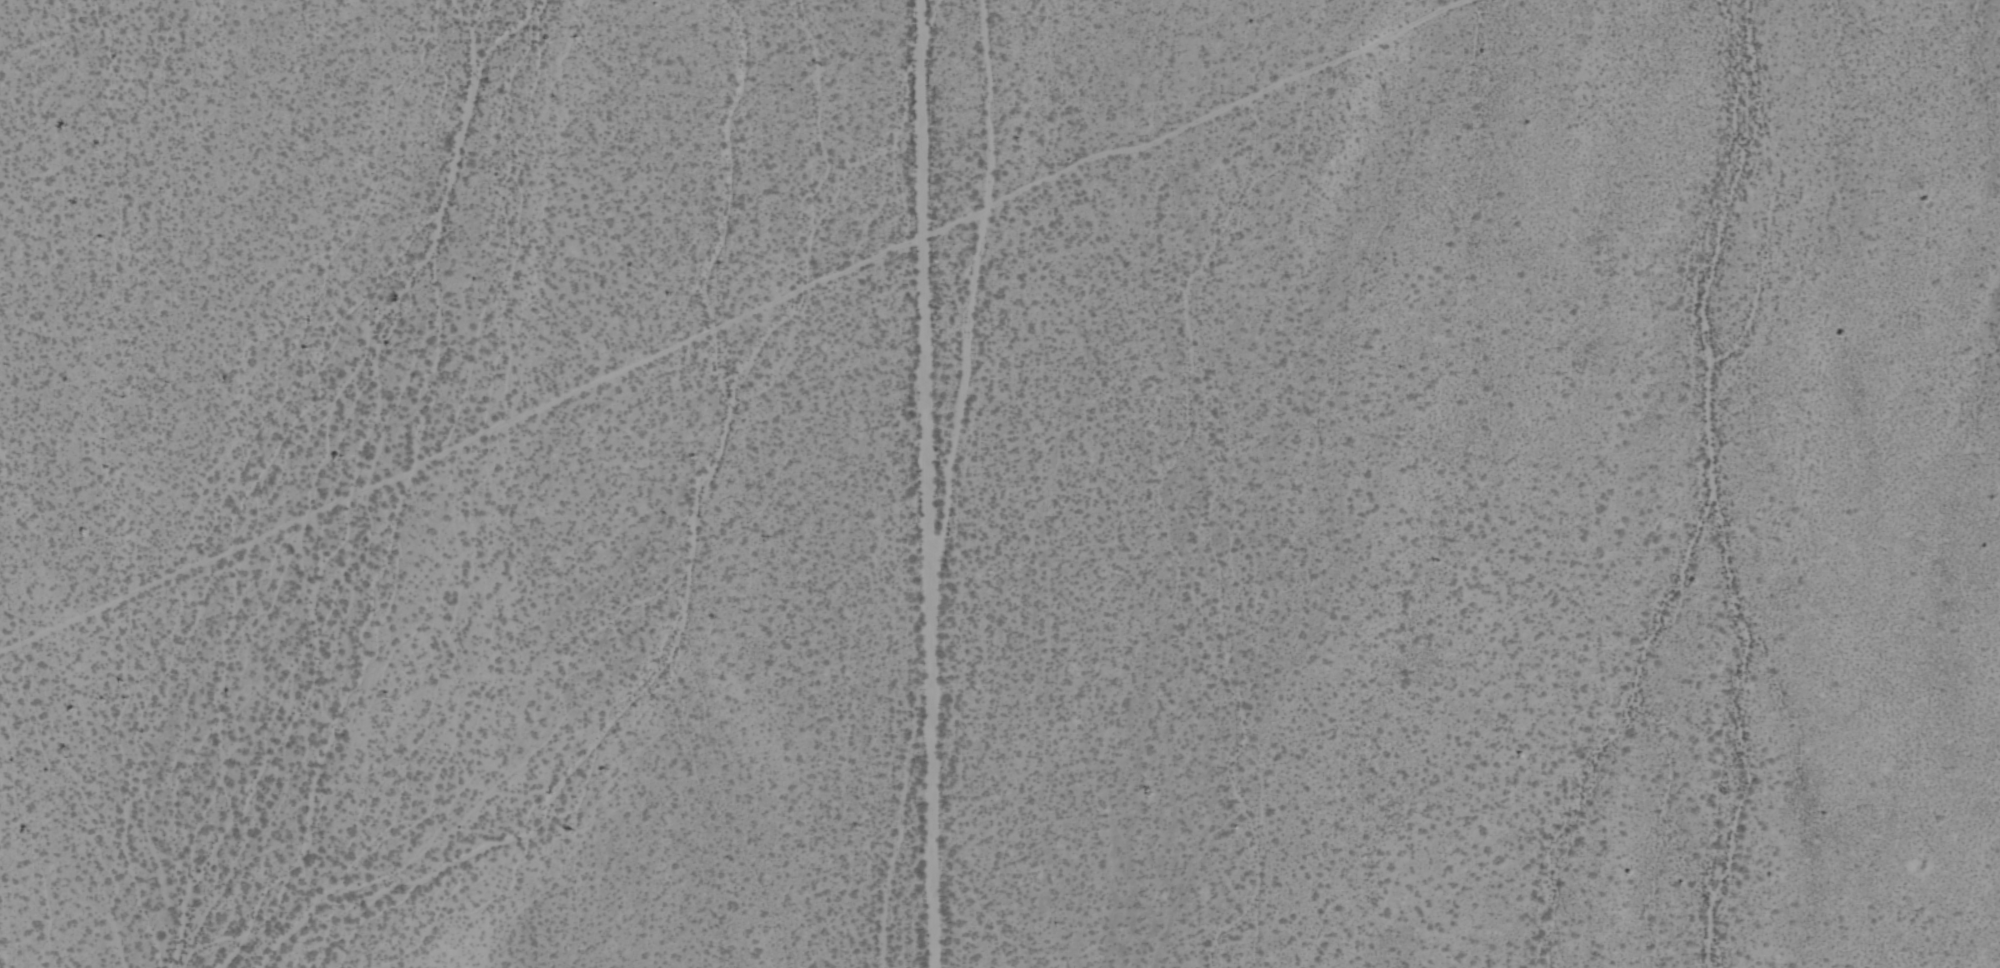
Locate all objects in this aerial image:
road: (926, 483)

